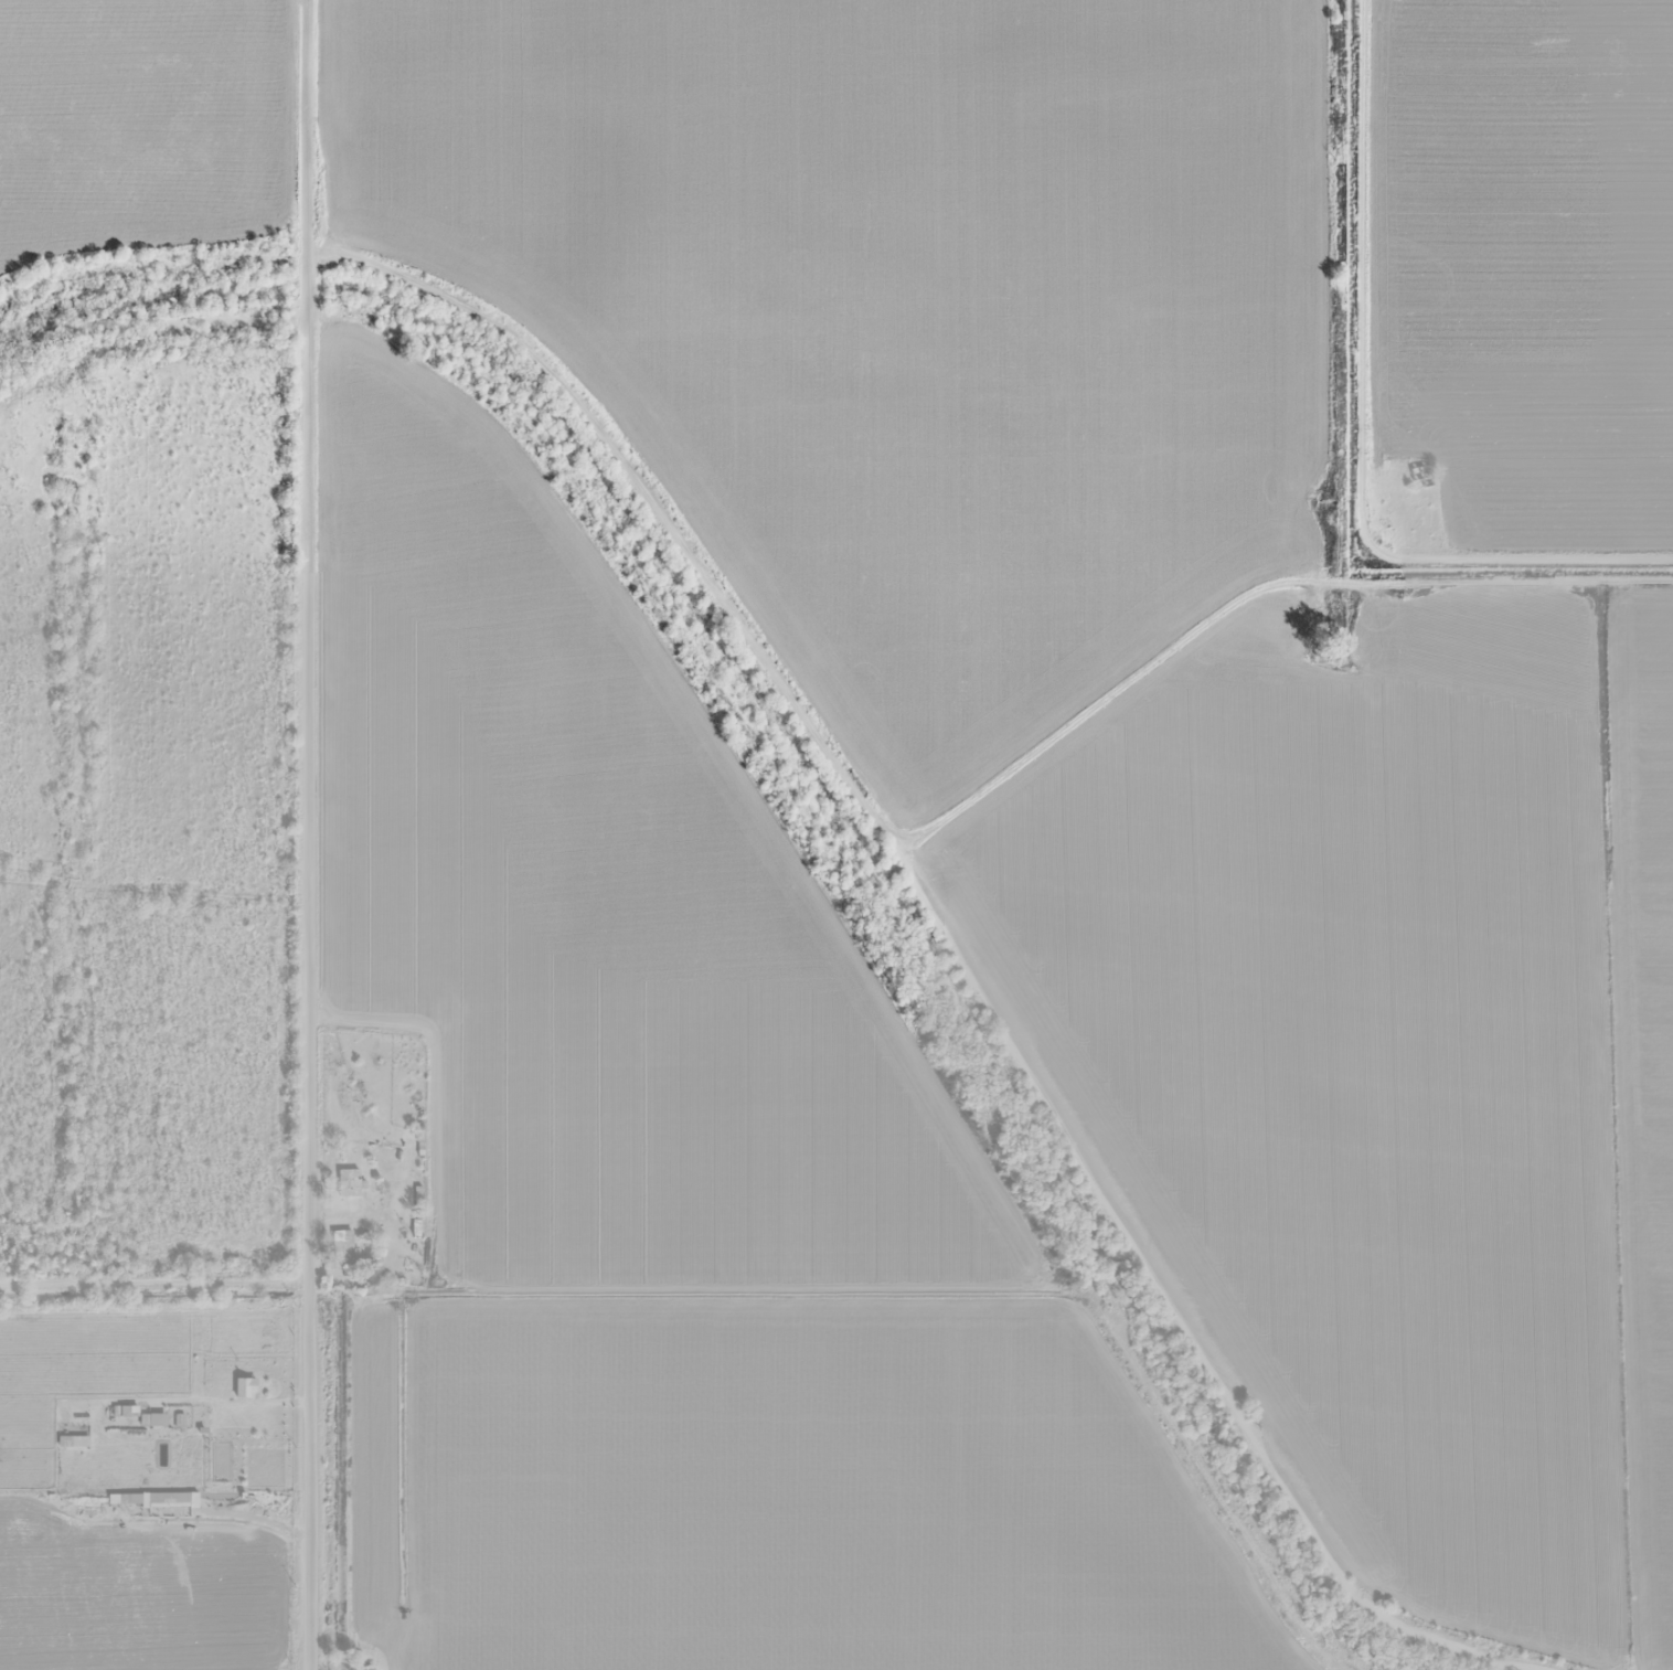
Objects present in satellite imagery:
road: (307, 834)

